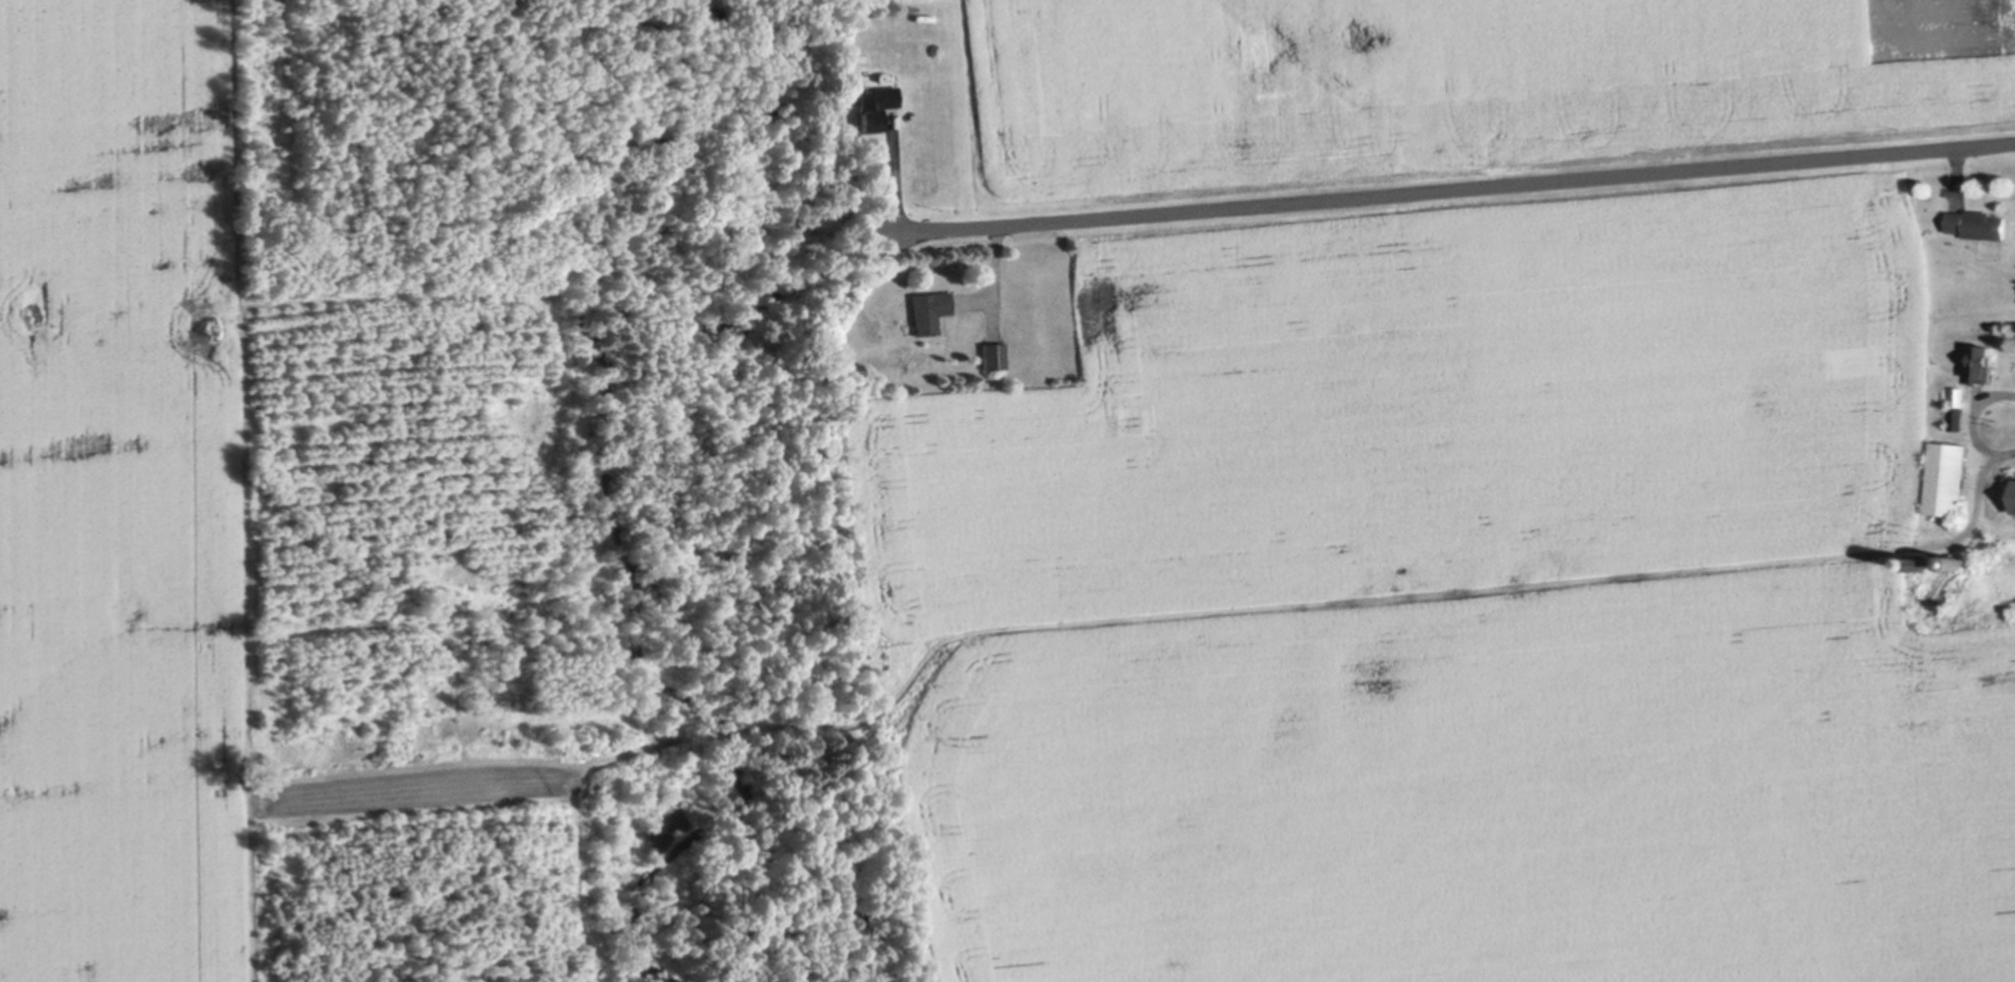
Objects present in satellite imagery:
building: (847, 16)
crop: (1446, 89)
building: (875, 105)
road: (894, 176)
road: (1455, 187)
building: (1978, 223)
building: (928, 309)
building: (993, 355)
building: (1984, 362)
building: (1959, 408)
road: (2009, 422)
building: (1949, 478)
crop: (119, 495)
building: (2013, 495)
building: (1923, 562)
building: (1957, 562)

